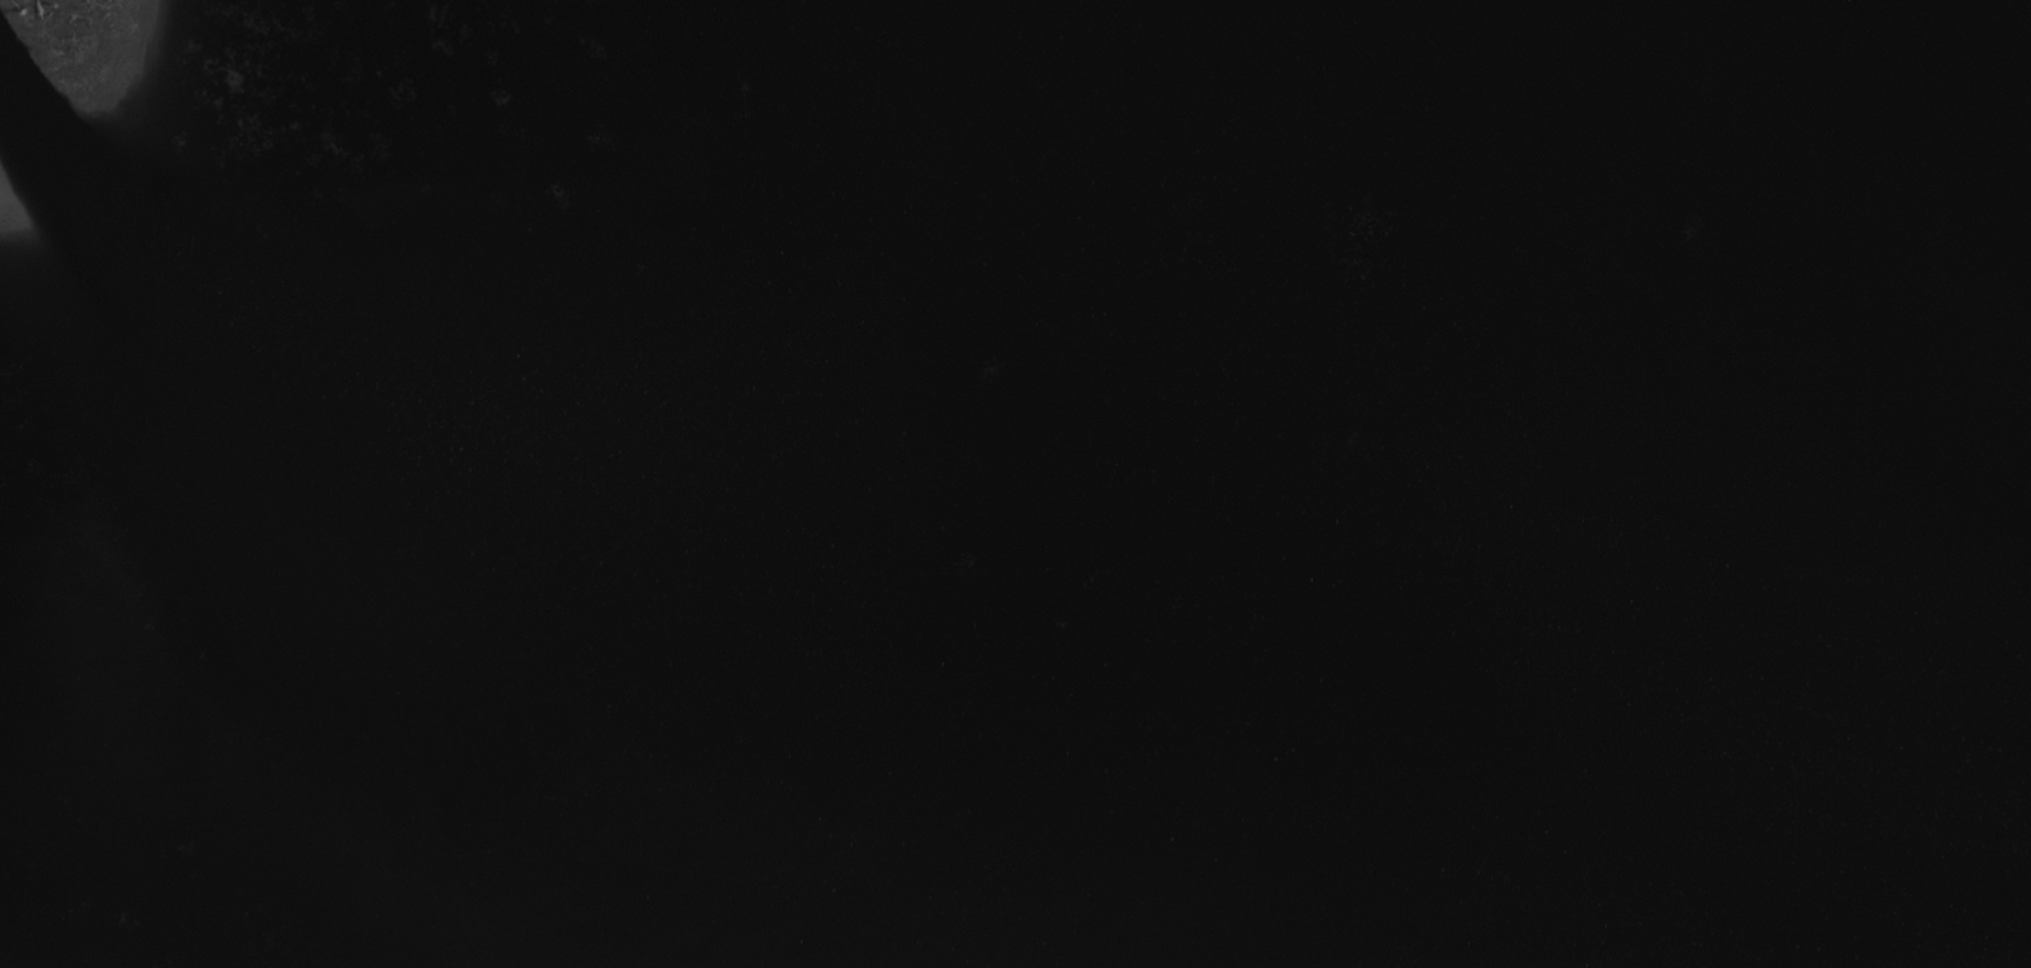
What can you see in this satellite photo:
river: (1302, 221)

